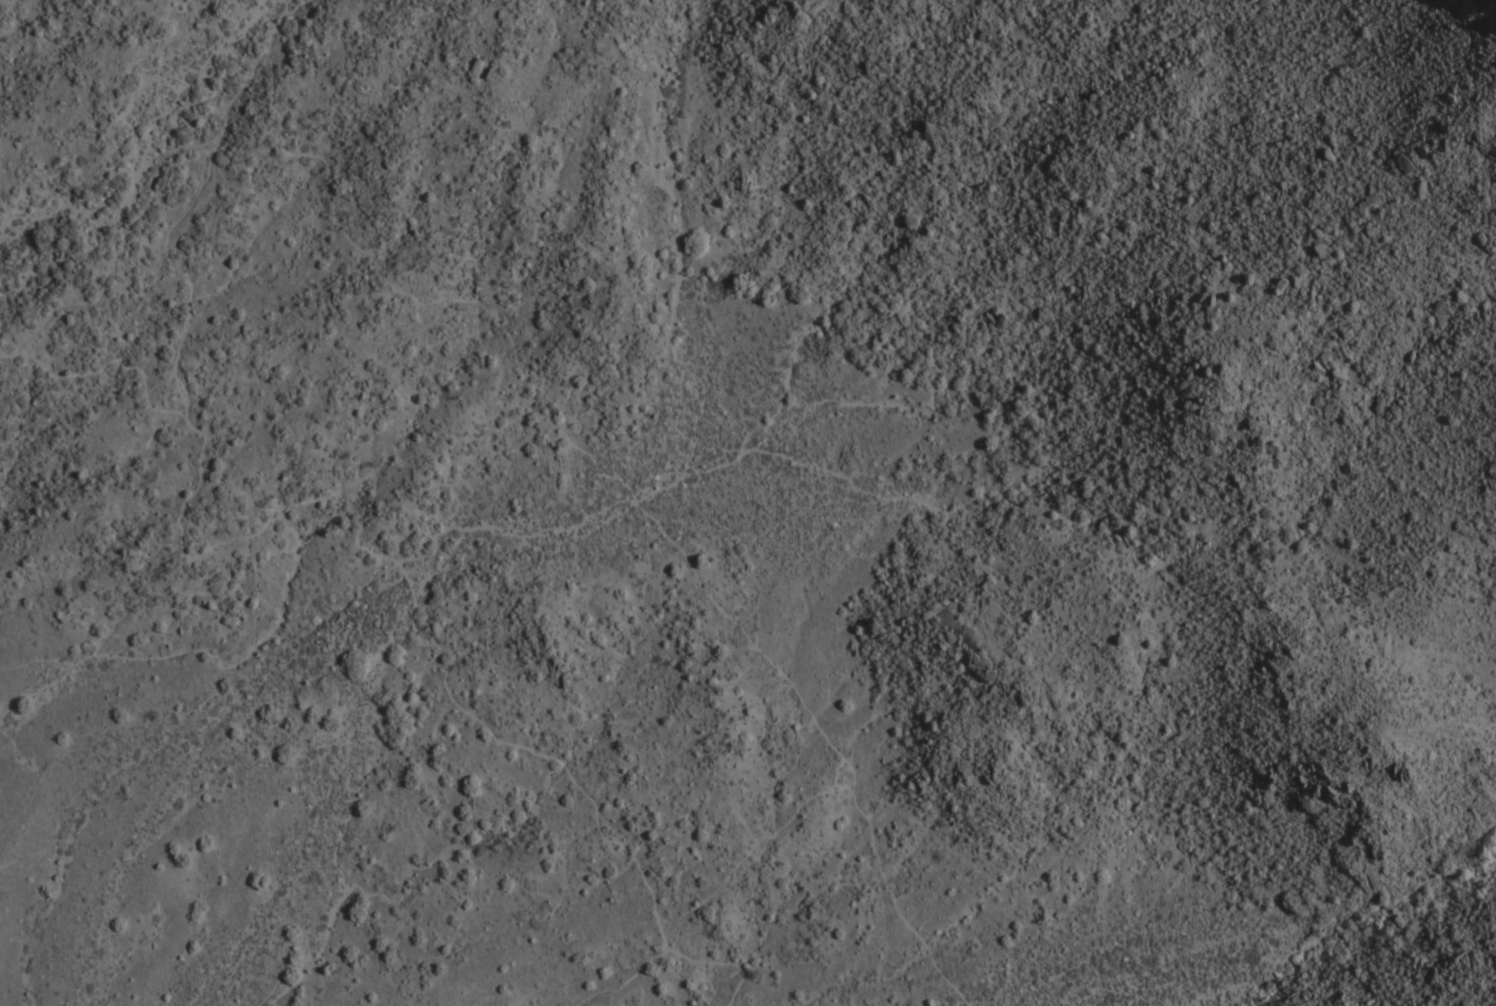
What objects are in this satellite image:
road: (197, 198)
road: (119, 248)
road: (669, 254)
road: (632, 493)
road: (369, 537)
road: (622, 980)

